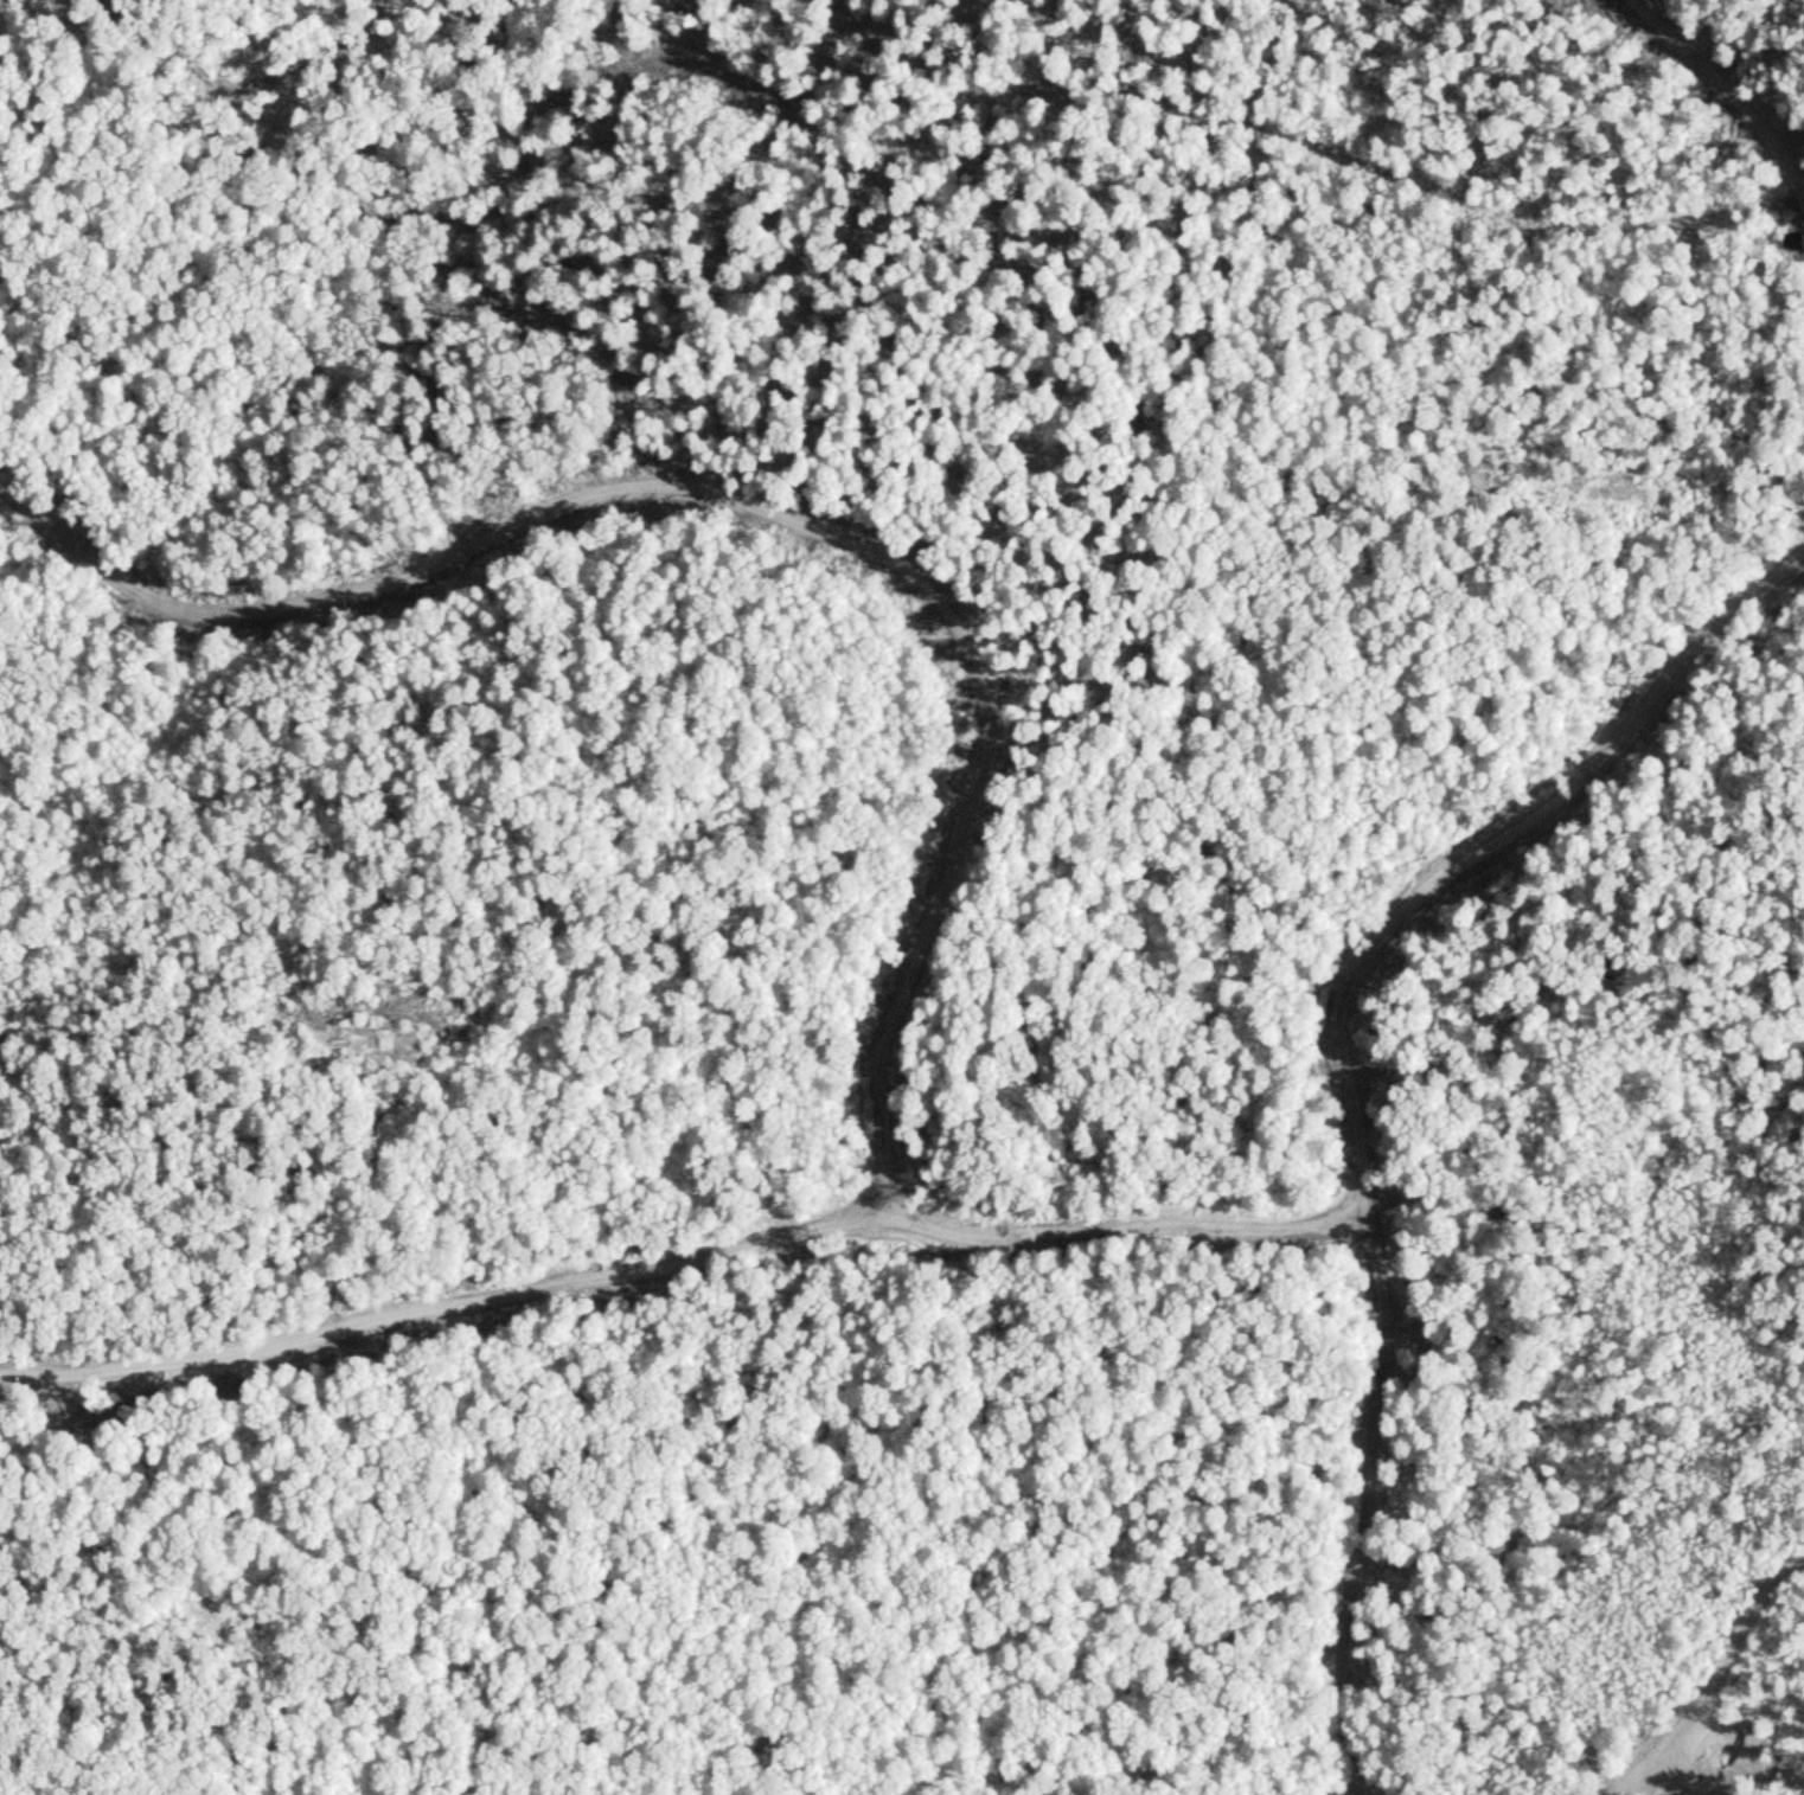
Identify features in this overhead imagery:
road: (1678, 1628)

